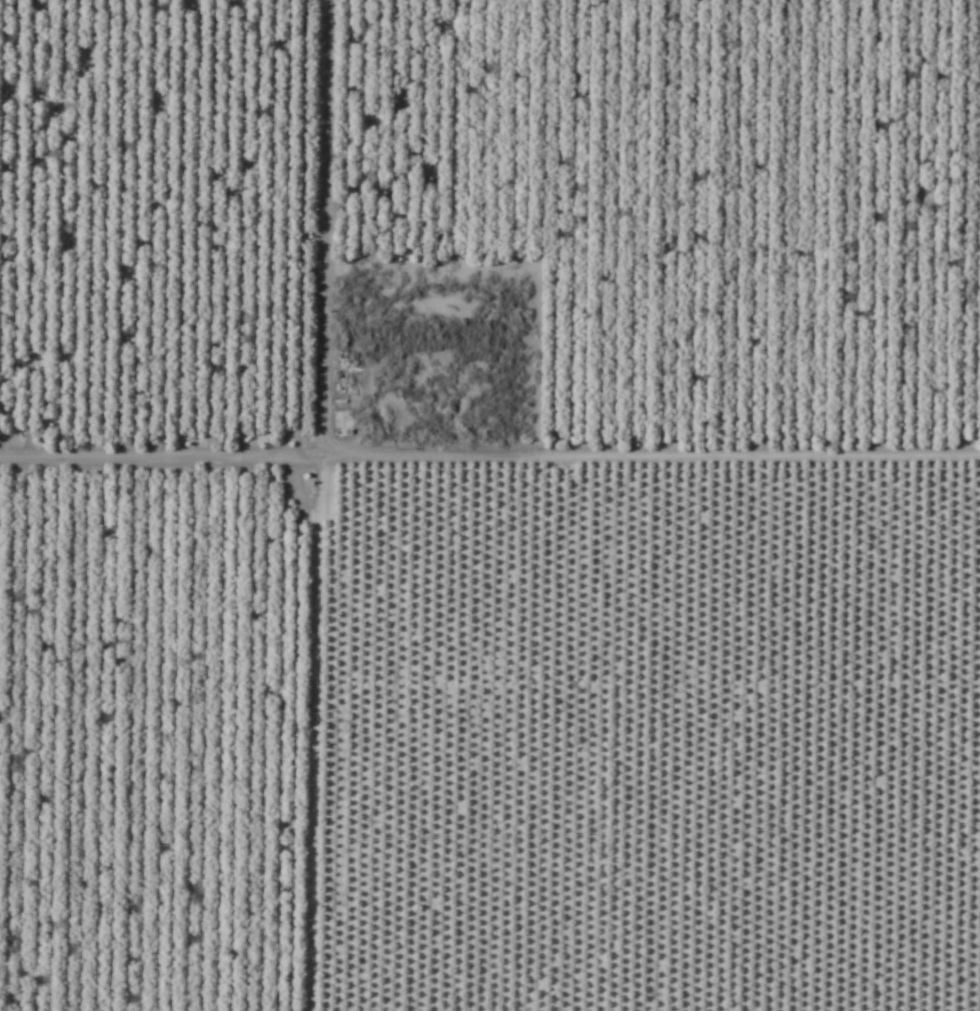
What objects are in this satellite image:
road: (489, 442)
crop: (490, 505)
road: (265, 726)

